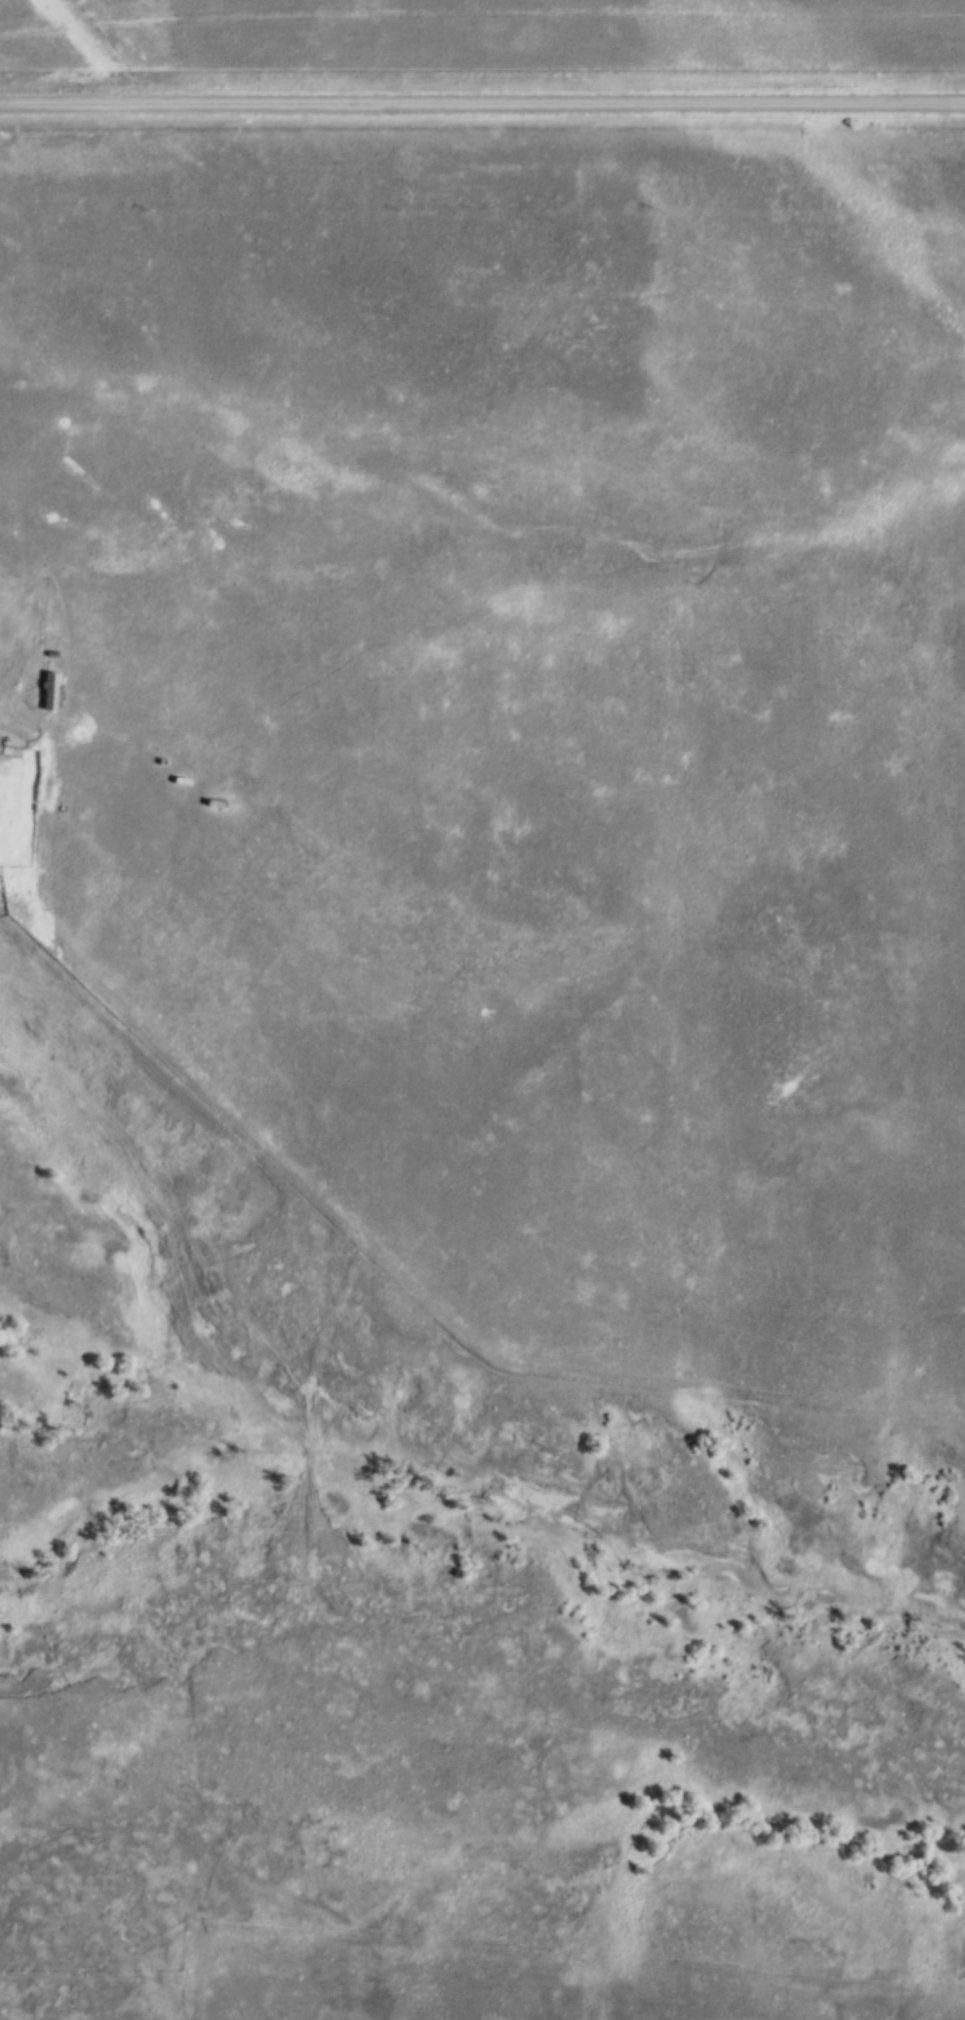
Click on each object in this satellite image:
road: (482, 108)
road: (20, 732)

